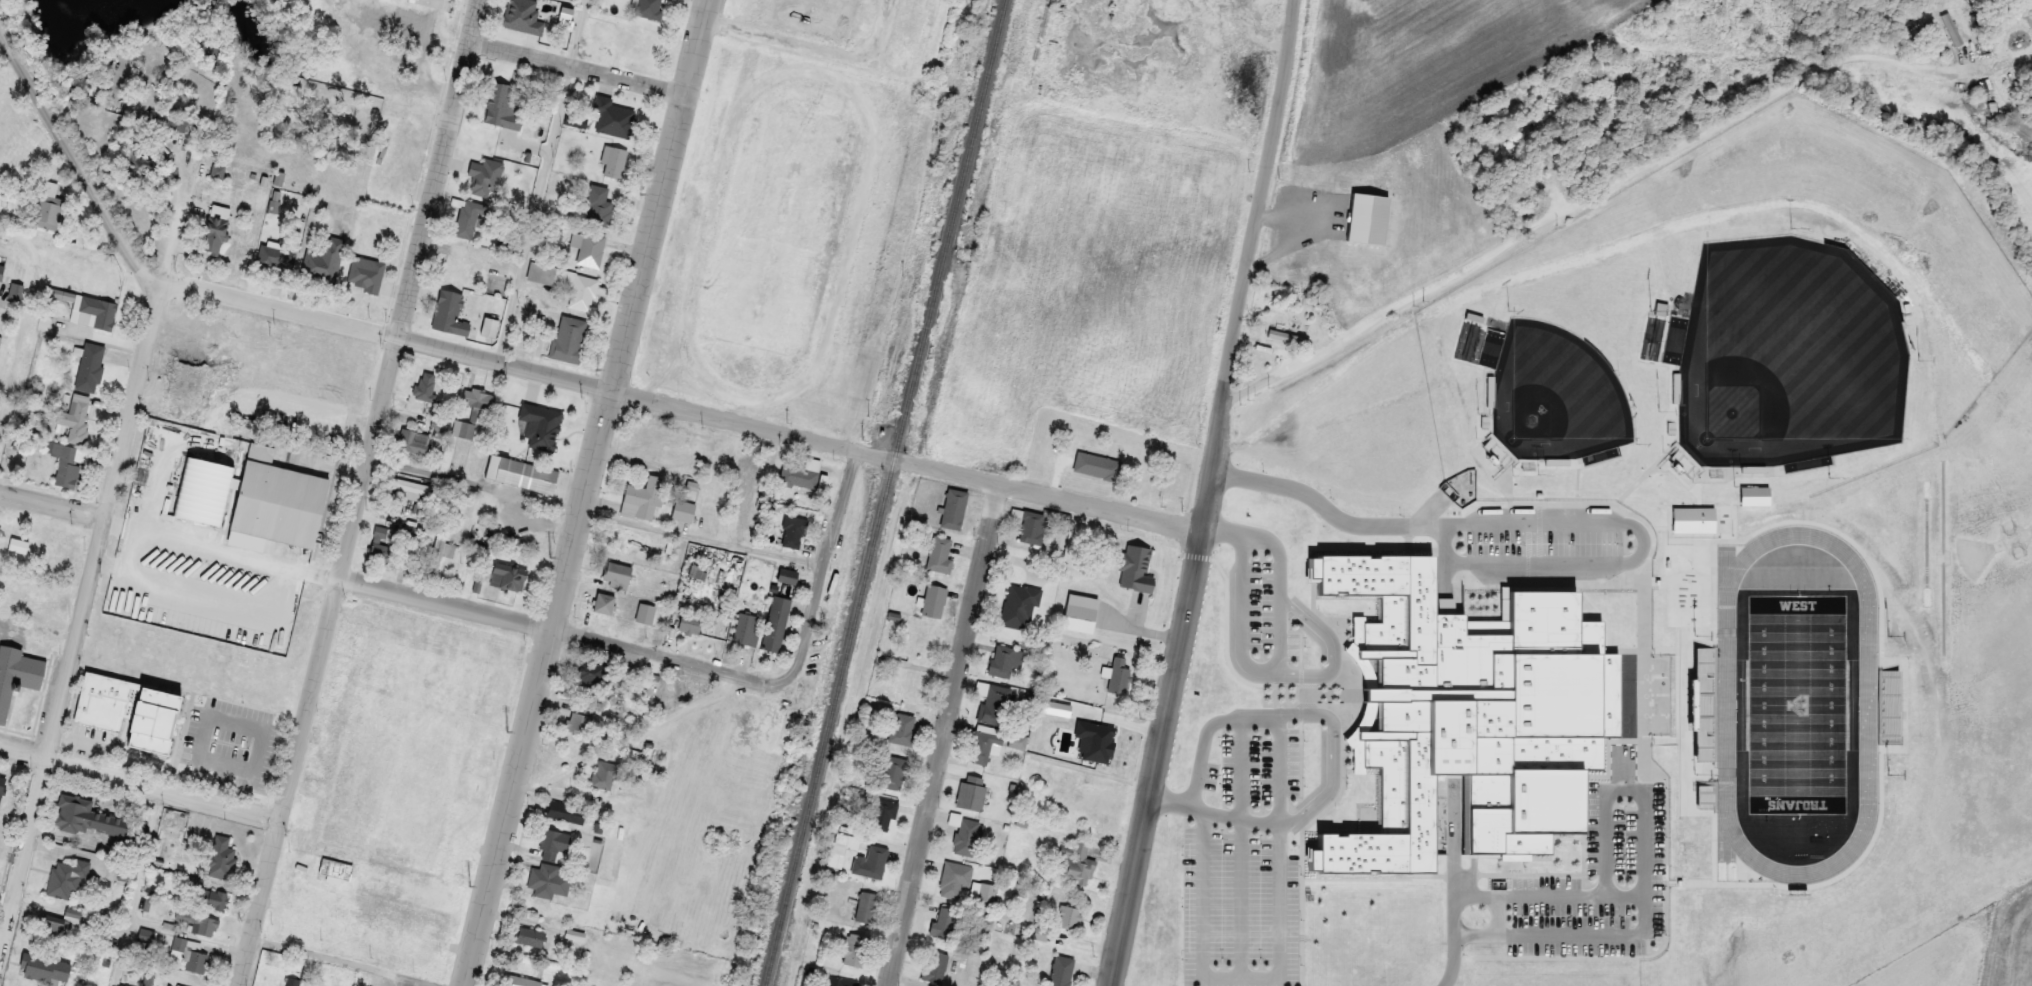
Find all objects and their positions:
building: (391, 8)
building: (648, 8)
building: (527, 11)
building: (805, 16)
railway: (1043, 27)
building: (1955, 34)
building: (634, 35)
road: (817, 47)
road: (578, 67)
building: (501, 89)
building: (912, 99)
track: (714, 112)
track: (724, 114)
building: (615, 117)
building: (576, 120)
crop: (1407, 127)
building: (491, 132)
road: (76, 158)
building: (614, 160)
building: (135, 161)
building: (216, 171)
building: (484, 175)
road: (544, 181)
building: (1529, 189)
building: (9, 193)
power tower: (642, 193)
road: (1580, 203)
building: (596, 205)
building: (49, 211)
building: (468, 214)
park: (781, 230)
track: (855, 230)
building: (214, 234)
park: (780, 235)
building: (291, 238)
building: (505, 242)
building: (835, 246)
building: (591, 249)
building: (543, 251)
building: (266, 252)
building: (322, 263)
building: (461, 264)
building: (1, 270)
building: (368, 270)
crop: (1089, 281)
building: (15, 291)
building: (585, 291)
building: (61, 293)
building: (670, 308)
building: (449, 311)
building: (100, 312)
building: (568, 331)
building: (1281, 331)
road: (388, 334)
parking lot: (267, 353)
park: (1788, 359)
building: (90, 366)
building: (190, 368)
power tower: (599, 368)
building: (237, 376)
building: (428, 379)
building: (477, 397)
park: (1554, 398)
building: (77, 416)
building: (552, 420)
road: (754, 424)
building: (437, 427)
building: (463, 429)
building: (414, 440)
building: (543, 440)
building: (682, 440)
building: (654, 443)
building: (178, 450)
building: (259, 452)
building: (300, 458)
building: (752, 462)
building: (1097, 466)
building: (67, 467)
building: (669, 469)
building: (796, 474)
building: (524, 475)
building: (748, 480)
building: (411, 489)
building: (199, 490)
road: (360, 492)
road: (1048, 492)
road: (588, 493)
railway: (887, 493)
road: (1205, 493)
building: (642, 497)
building: (804, 499)
building: (742, 501)
road: (52, 502)
building: (279, 503)
building: (954, 507)
building: (683, 510)
road: (1325, 510)
road: (595, 513)
building: (794, 525)
building: (1030, 529)
building: (382, 530)
building: (1060, 536)
building: (622, 540)
road: (1248, 540)
building: (671, 546)
building: (441, 547)
building: (938, 553)
power tower: (552, 556)
building: (186, 557)
road: (93, 558)
building: (1136, 558)
road: (1634, 559)
road: (823, 563)
building: (1025, 572)
building: (618, 574)
building: (509, 575)
parking lot: (122, 577)
building: (786, 582)
road: (231, 593)
building: (933, 599)
building: (603, 602)
parking lot: (271, 604)
building: (169, 607)
road: (279, 609)
building: (644, 613)
building: (1012, 613)
building: (895, 616)
building: (212, 621)
building: (688, 622)
building: (775, 623)
parking lot: (1262, 628)
building: (746, 630)
building: (36, 631)
road: (565, 632)
building: (918, 639)
building: (352, 640)
building: (148, 642)
road: (1331, 652)
building: (1683, 660)
building: (1004, 661)
building: (217, 663)
building: (156, 669)
building: (589, 671)
building: (17, 674)
building: (1117, 675)
road: (1248, 676)
building: (212, 680)
building: (910, 684)
building: (234, 686)
building: (994, 705)
track: (1867, 705)
building: (123, 708)
park: (1796, 708)
building: (1463, 723)
building: (578, 724)
building: (333, 727)
building: (901, 727)
power tower: (510, 732)
road: (946, 734)
building: (1100, 735)
road: (632, 736)
building: (230, 739)
park: (407, 740)
building: (1016, 740)
building: (982, 745)
road: (1331, 753)
building: (475, 762)
building: (892, 771)
building: (604, 774)
road: (1622, 778)
building: (5, 780)
road: (140, 781)
park: (397, 786)
building: (972, 792)
building: (565, 813)
building: (882, 813)
building: (82, 816)
building: (963, 835)
building: (175, 836)
building: (301, 839)
building: (553, 840)
road: (1242, 849)
parking lot: (1244, 854)
building: (870, 862)
building: (1075, 862)
building: (337, 871)
building: (67, 877)
building: (954, 878)
building: (549, 880)
power tower: (472, 885)
road: (136, 886)
road: (1643, 892)
building: (981, 895)
road: (1452, 899)
building: (217, 900)
road: (1547, 900)
building: (866, 906)
building: (74, 914)
building: (1068, 916)
building: (51, 920)
park: (401, 920)
road: (1496, 920)
building: (943, 921)
building: (198, 922)
building: (147, 934)
building: (530, 935)
crop: (1959, 944)
building: (186, 946)
building: (853, 948)
building: (197, 961)
road: (346, 963)
building: (43, 968)
building: (935, 968)
road: (1279, 969)
building: (1060, 970)
building: (294, 981)
building: (522, 981)
parking lot: (410, 982)
building: (840, 982)
building: (123, 985)
road: (437, 985)

